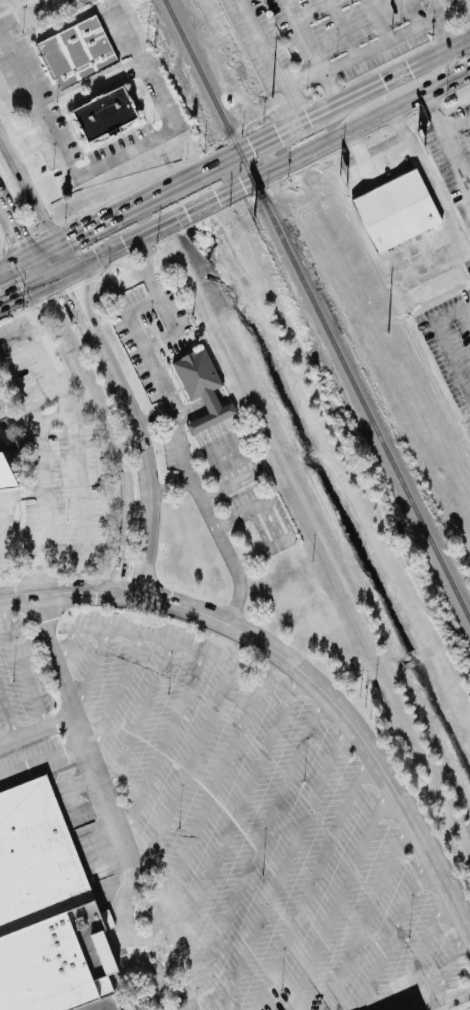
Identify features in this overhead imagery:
road: (442, 11)
road: (23, 12)
road: (415, 12)
road: (377, 20)
road: (342, 27)
road: (443, 32)
parking lot: (334, 39)
road: (312, 52)
building: (76, 53)
road: (310, 77)
road: (400, 89)
power tower: (271, 100)
road: (331, 107)
road: (40, 109)
road: (432, 113)
building: (106, 116)
road: (456, 127)
road: (165, 128)
road: (402, 132)
road: (28, 140)
road: (373, 167)
road: (267, 170)
road: (456, 171)
road: (34, 206)
road: (121, 210)
building: (394, 212)
road: (15, 223)
traffic signals: (73, 234)
traffic signals: (23, 237)
road: (41, 249)
road: (15, 261)
road: (147, 268)
road: (37, 270)
road: (54, 280)
traffic signals: (73, 291)
road: (21, 297)
traffic signals: (23, 297)
railway: (316, 312)
road: (178, 327)
road: (14, 334)
power tower: (387, 335)
road: (435, 352)
building: (202, 389)
road: (192, 408)
road: (69, 415)
road: (209, 419)
road: (135, 429)
road: (112, 433)
road: (77, 459)
road: (233, 466)
building: (6, 478)
road: (171, 485)
road: (198, 489)
road: (14, 496)
road: (142, 631)
road: (69, 640)
road: (23, 666)
road: (91, 666)
road: (297, 669)
road: (68, 683)
road: (118, 693)
road: (9, 715)
road: (141, 715)
road: (172, 725)
road: (38, 730)
road: (192, 757)
road: (207, 804)
road: (225, 837)
road: (256, 852)
road: (283, 865)
road: (312, 879)
road: (342, 897)
building: (44, 910)
road: (370, 914)
road: (396, 930)
road: (425, 950)
road: (454, 963)
road: (449, 999)
building: (96, 1003)
road: (426, 1007)

